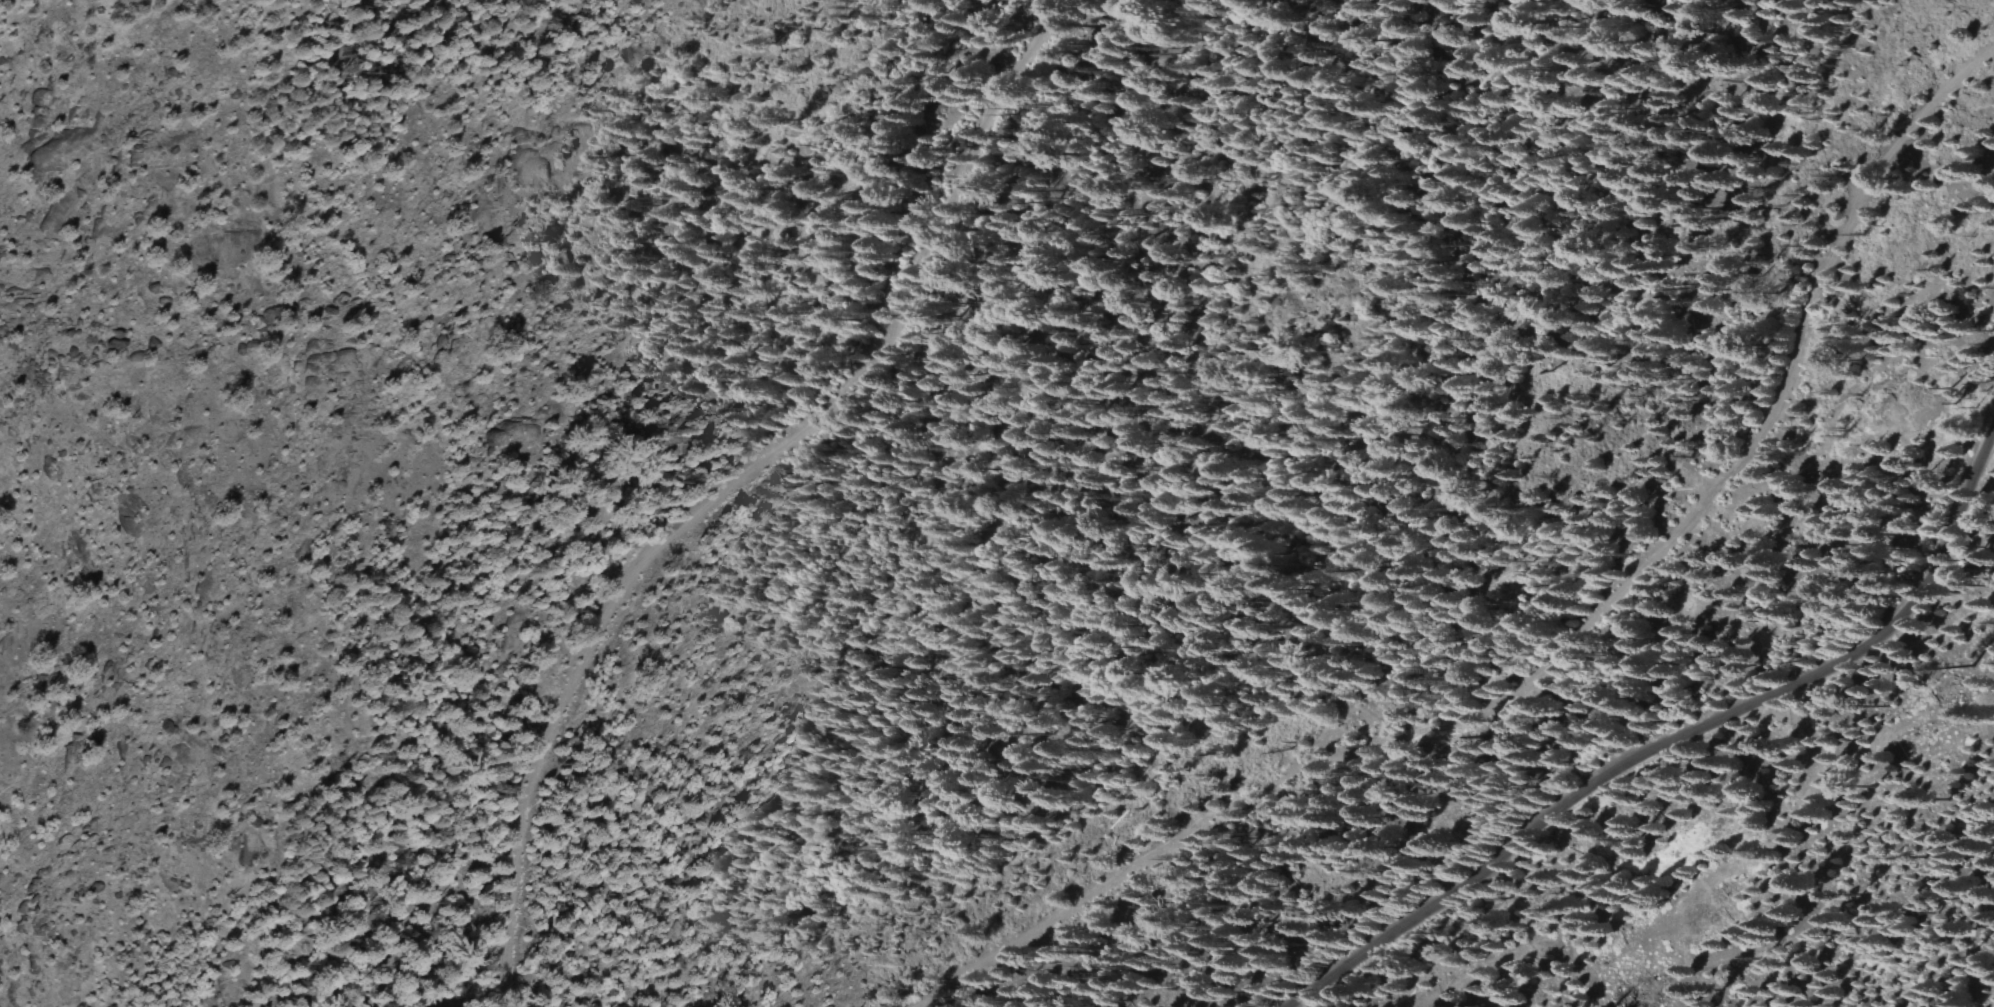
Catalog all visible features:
road: (1573, 627)
road: (1678, 741)

